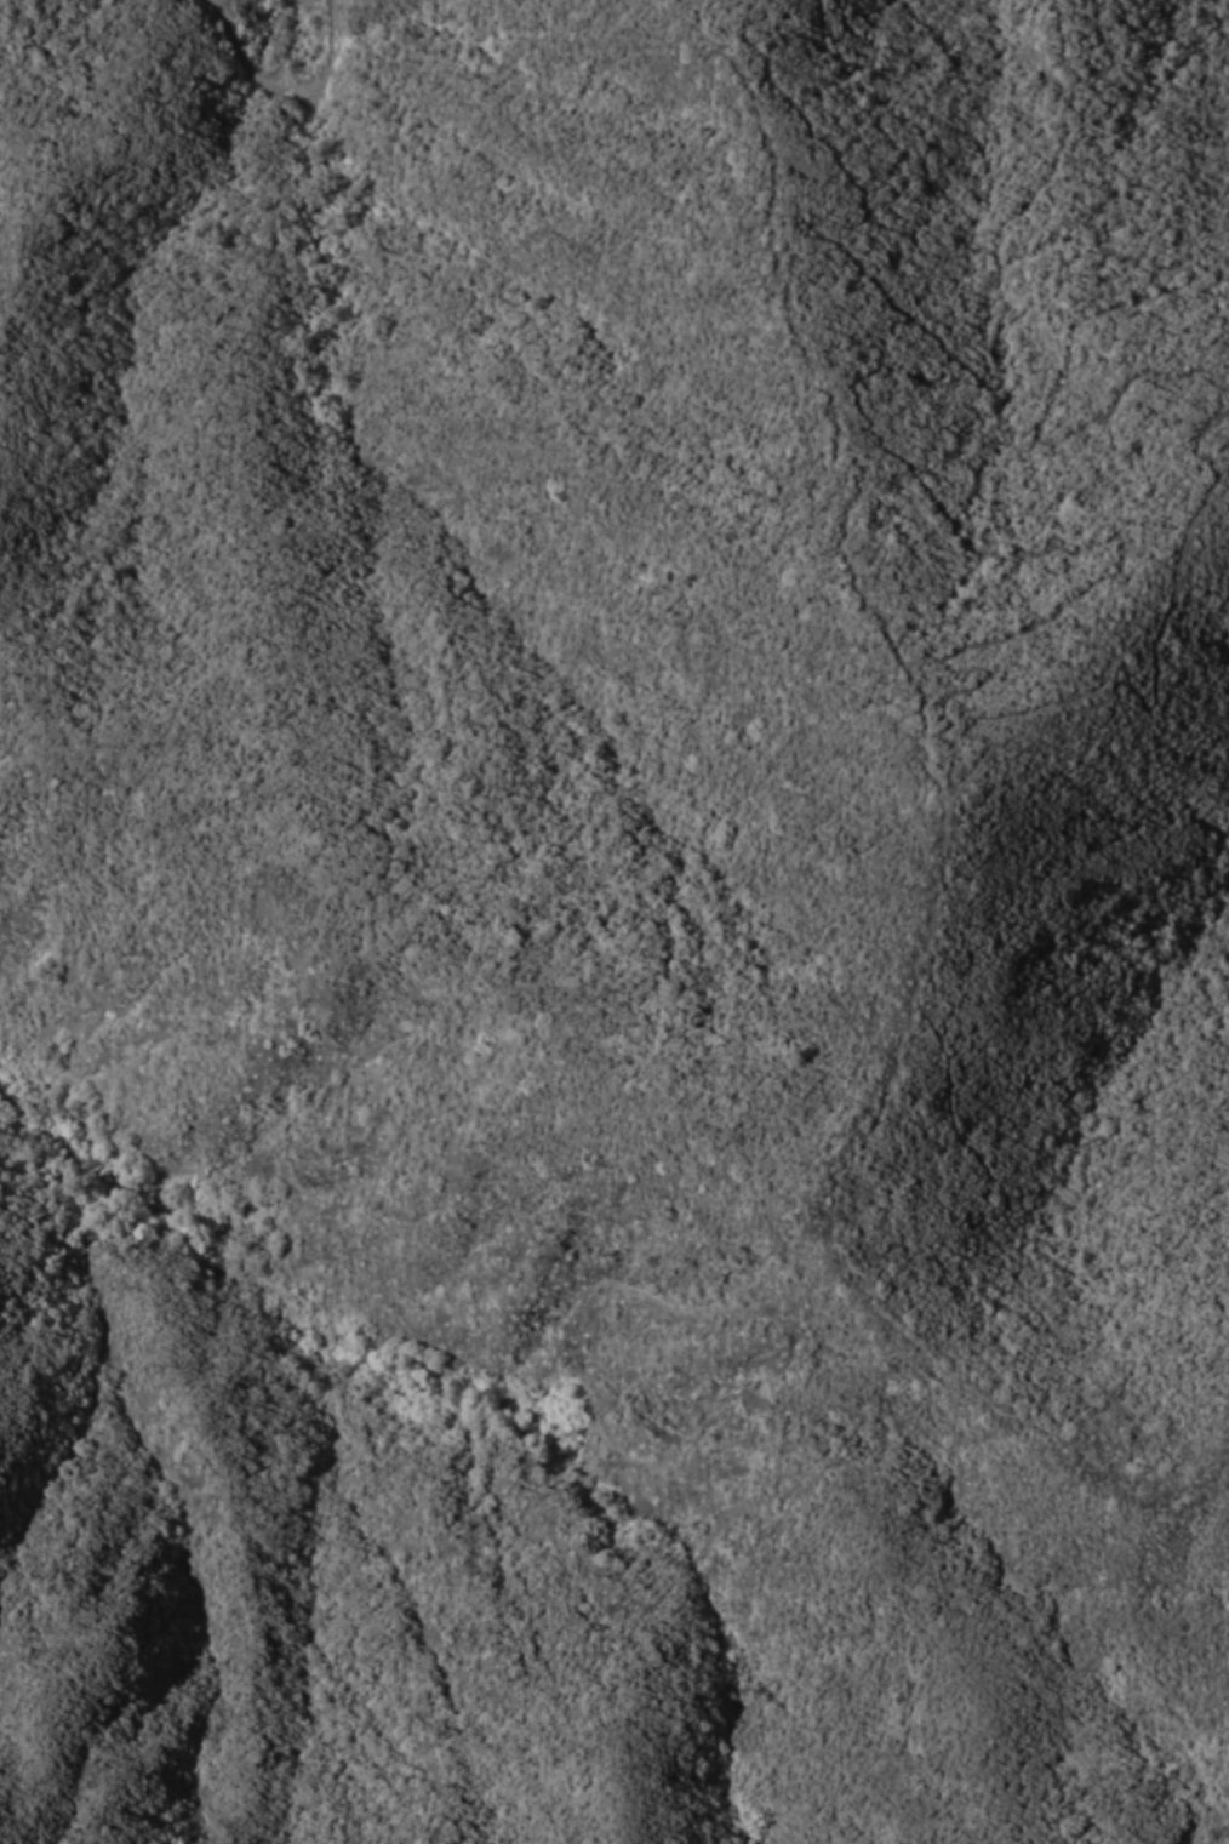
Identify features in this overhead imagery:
road: (282, 84)

